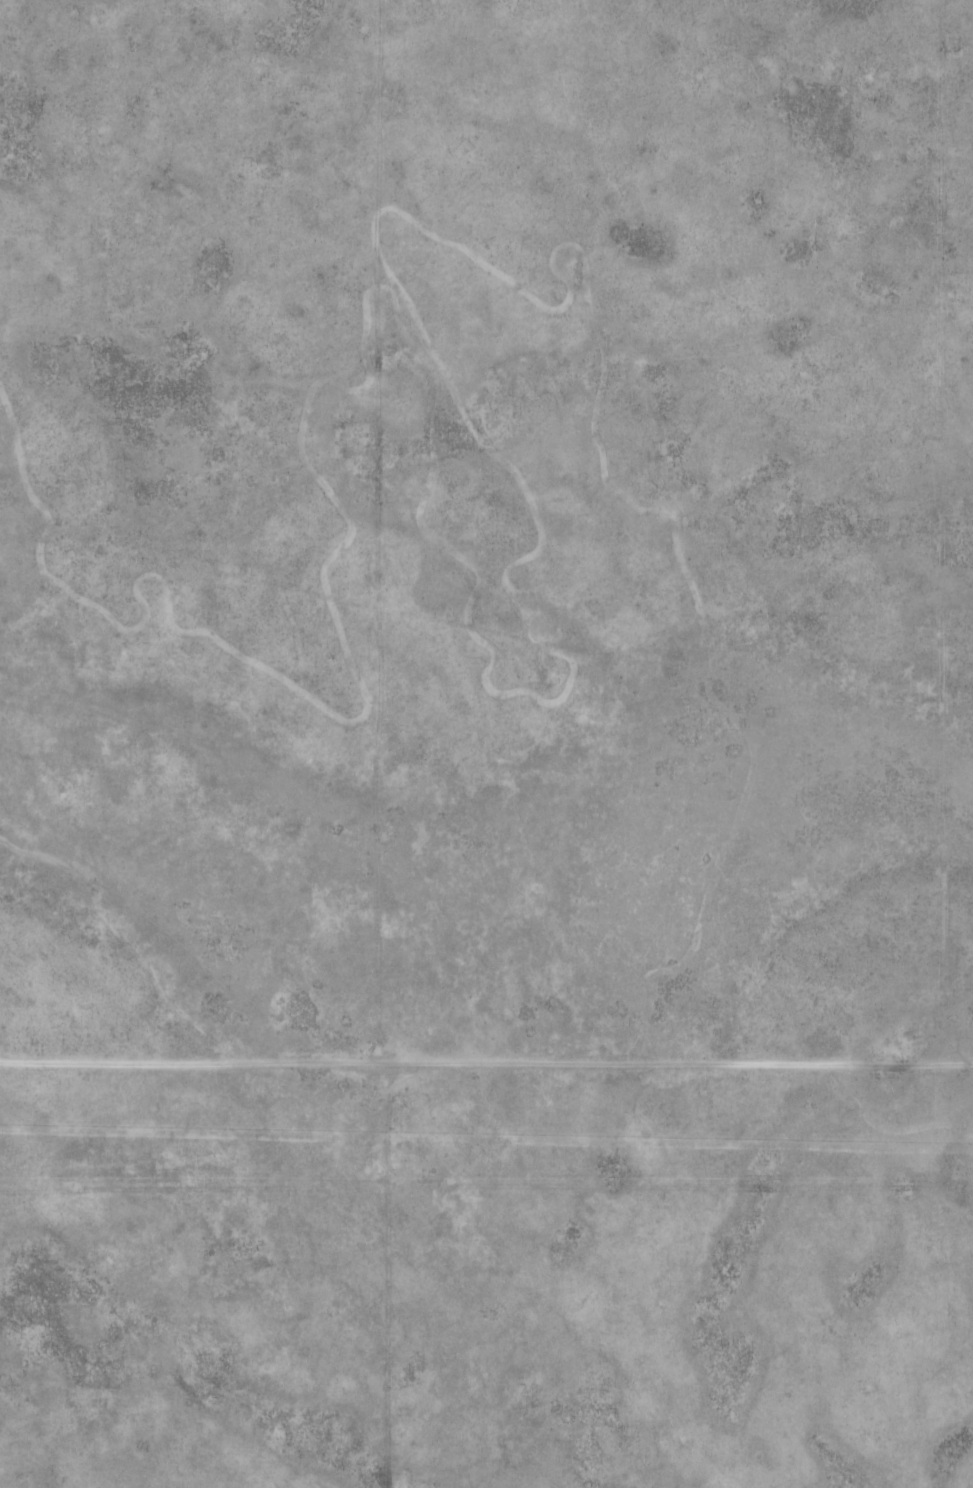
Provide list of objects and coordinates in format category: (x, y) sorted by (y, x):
road: (486, 1011)

